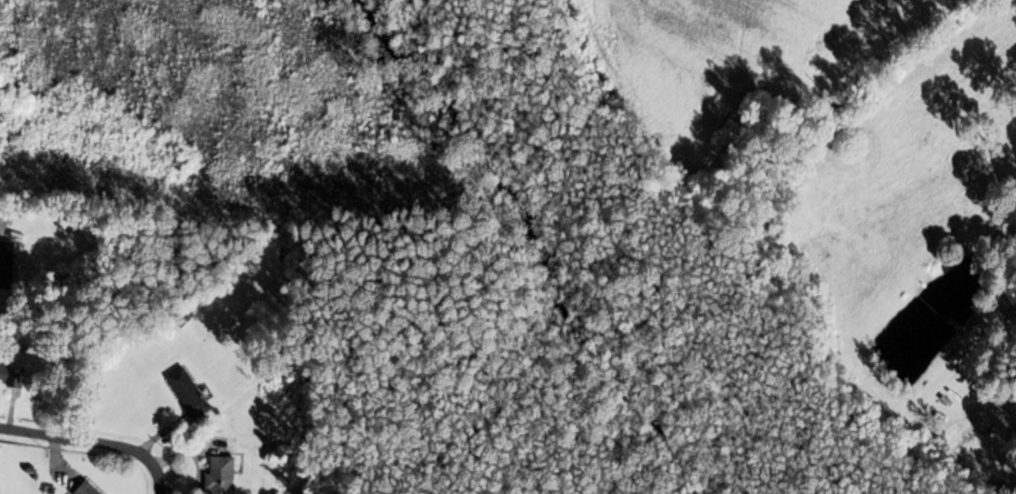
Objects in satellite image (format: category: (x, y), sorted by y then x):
building: (7, 263)
building: (13, 375)
building: (189, 393)
road: (91, 444)
building: (222, 475)
building: (88, 489)
building: (319, 492)

